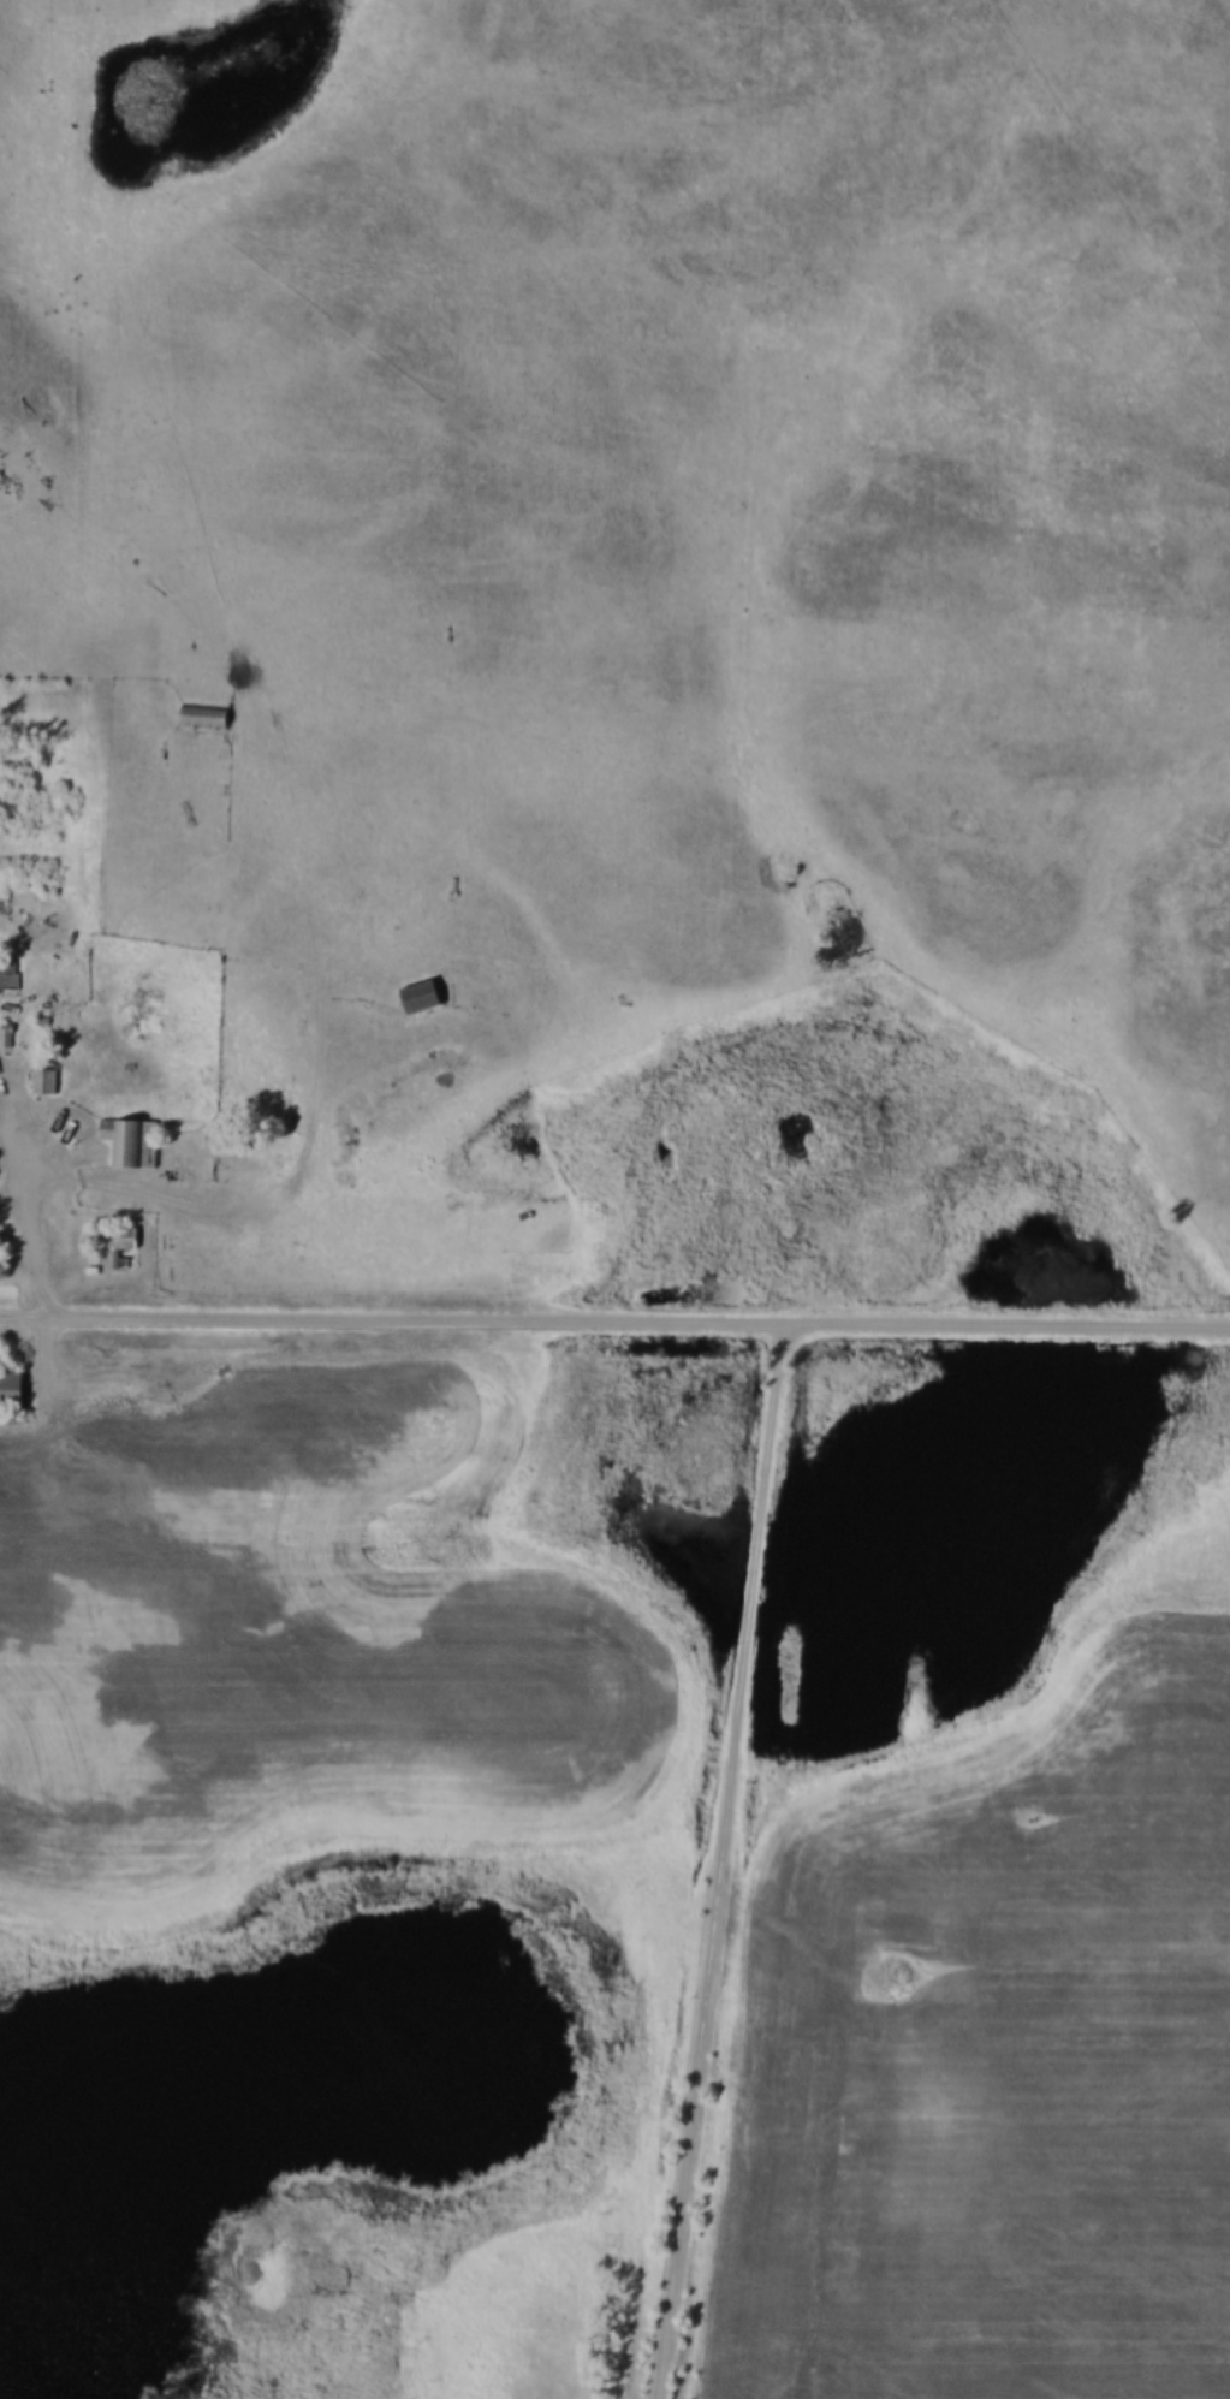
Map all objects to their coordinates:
building: (203, 718)
building: (8, 968)
building: (421, 996)
road: (12, 1130)
building: (130, 1142)
road: (13, 1195)
road: (28, 1195)
road: (245, 1215)
building: (112, 1242)
road: (22, 1317)
road: (636, 1323)
building: (11, 1388)
road: (725, 1860)

